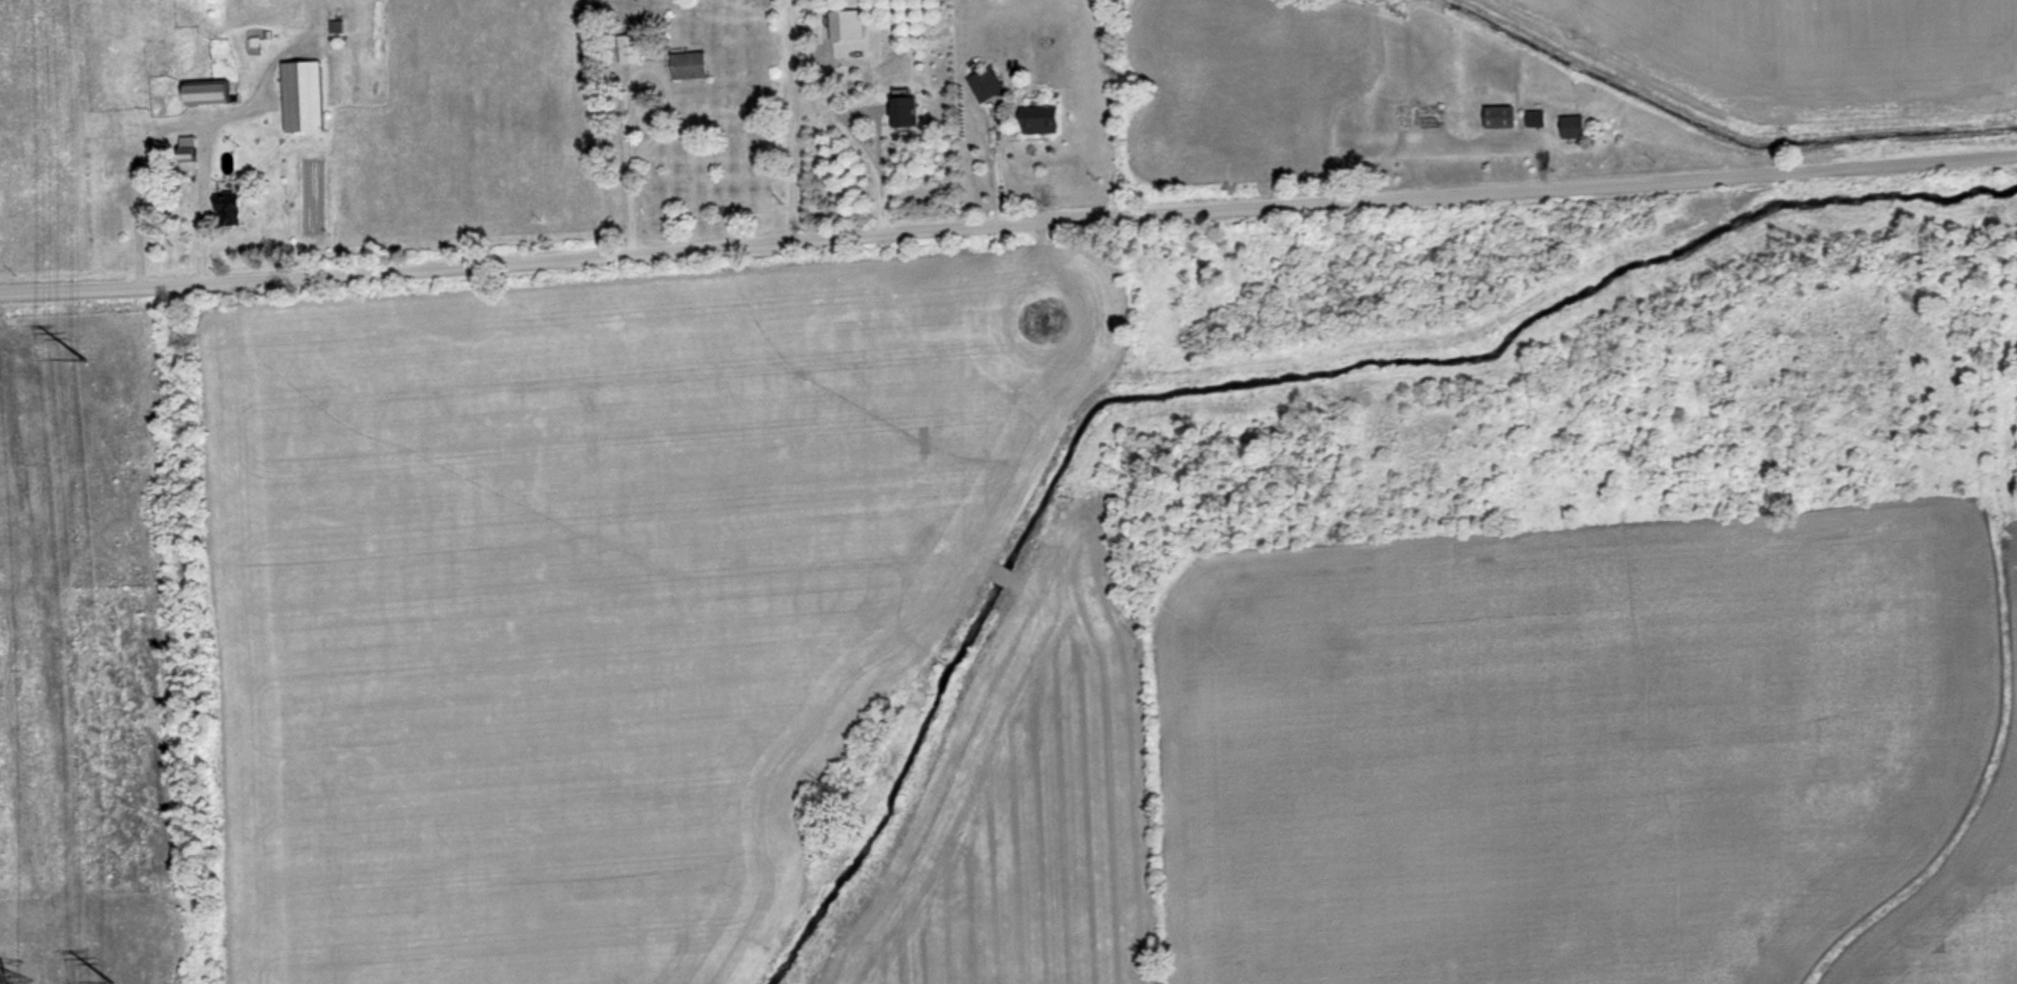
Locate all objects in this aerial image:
building: (332, 27)
building: (630, 48)
building: (689, 65)
building: (985, 84)
building: (203, 92)
building: (302, 96)
road: (669, 106)
building: (905, 111)
building: (1499, 116)
building: (111, 118)
building: (1535, 118)
building: (1036, 120)
building: (1571, 126)
road: (877, 134)
building: (186, 153)
building: (114, 160)
building: (226, 209)
road: (1008, 230)
building: (1038, 318)
power tower: (97, 358)
building: (1974, 962)

